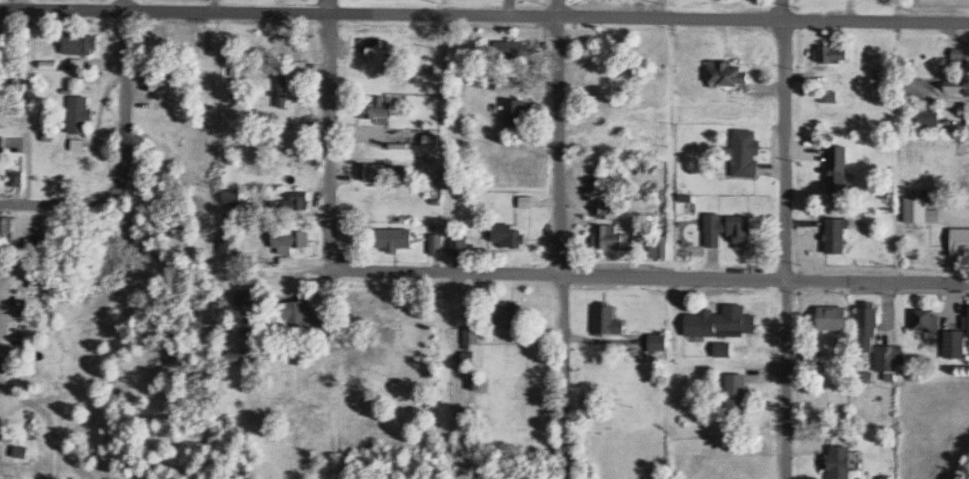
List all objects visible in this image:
road: (669, 3)
road: (484, 10)
building: (836, 52)
building: (960, 56)
road: (137, 86)
building: (828, 95)
building: (964, 109)
building: (930, 116)
building: (838, 167)
road: (78, 203)
building: (920, 209)
building: (836, 233)
road: (325, 239)
road: (560, 239)
road: (783, 239)
building: (960, 240)
road: (646, 269)
building: (835, 316)
building: (926, 321)
building: (966, 322)
building: (867, 326)
building: (953, 342)
building: (814, 356)
building: (888, 360)
building: (841, 461)

